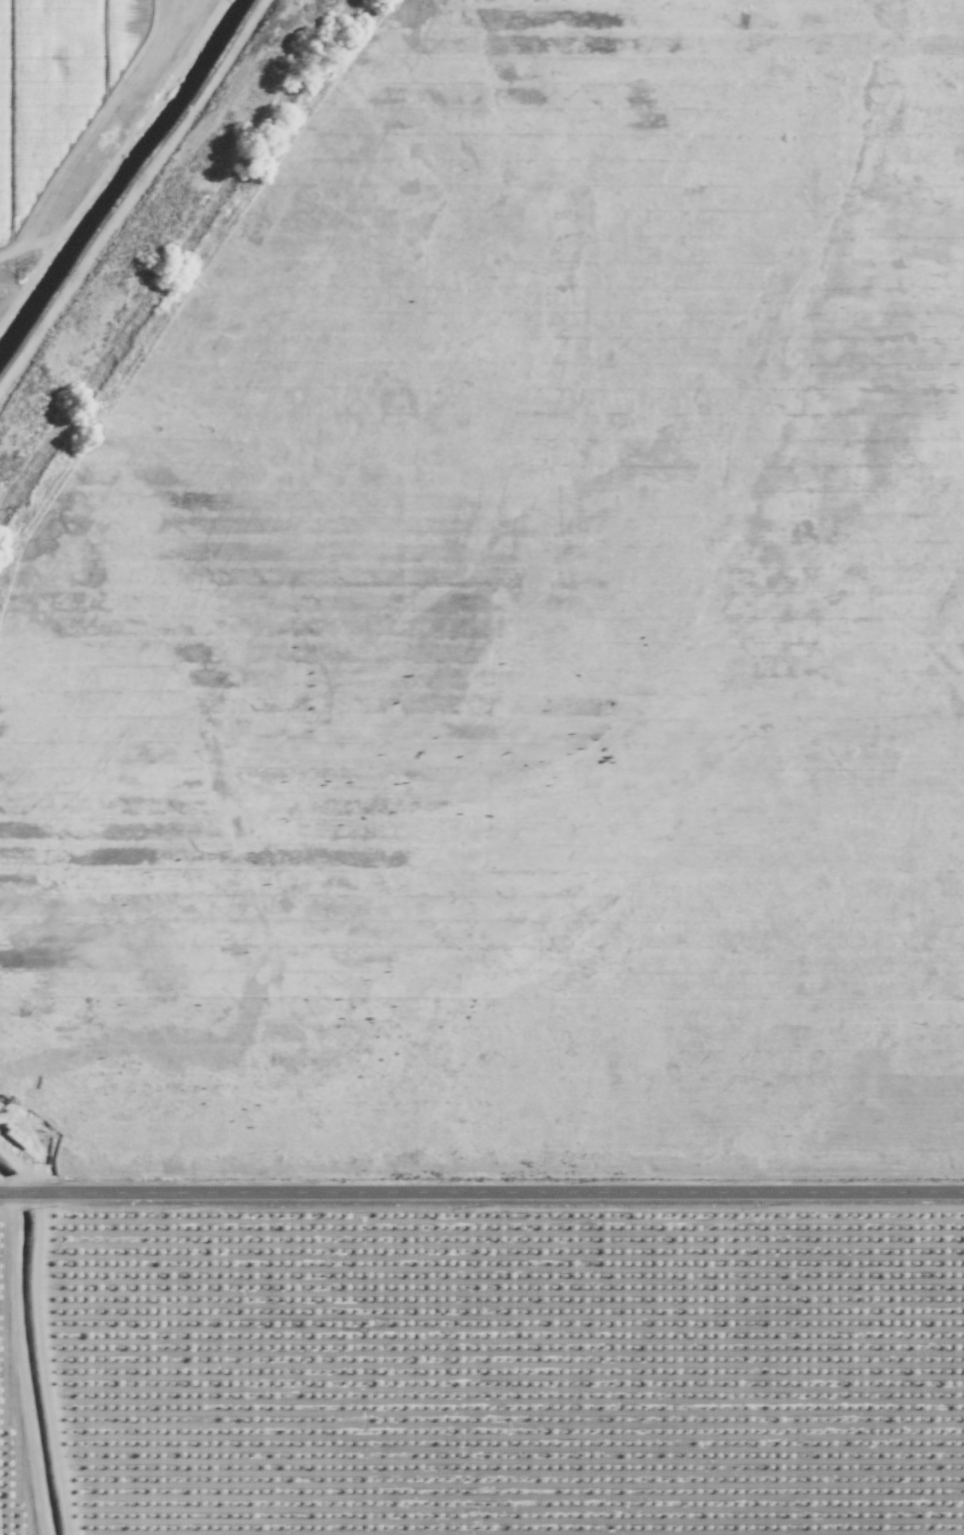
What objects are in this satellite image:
road: (481, 1190)

